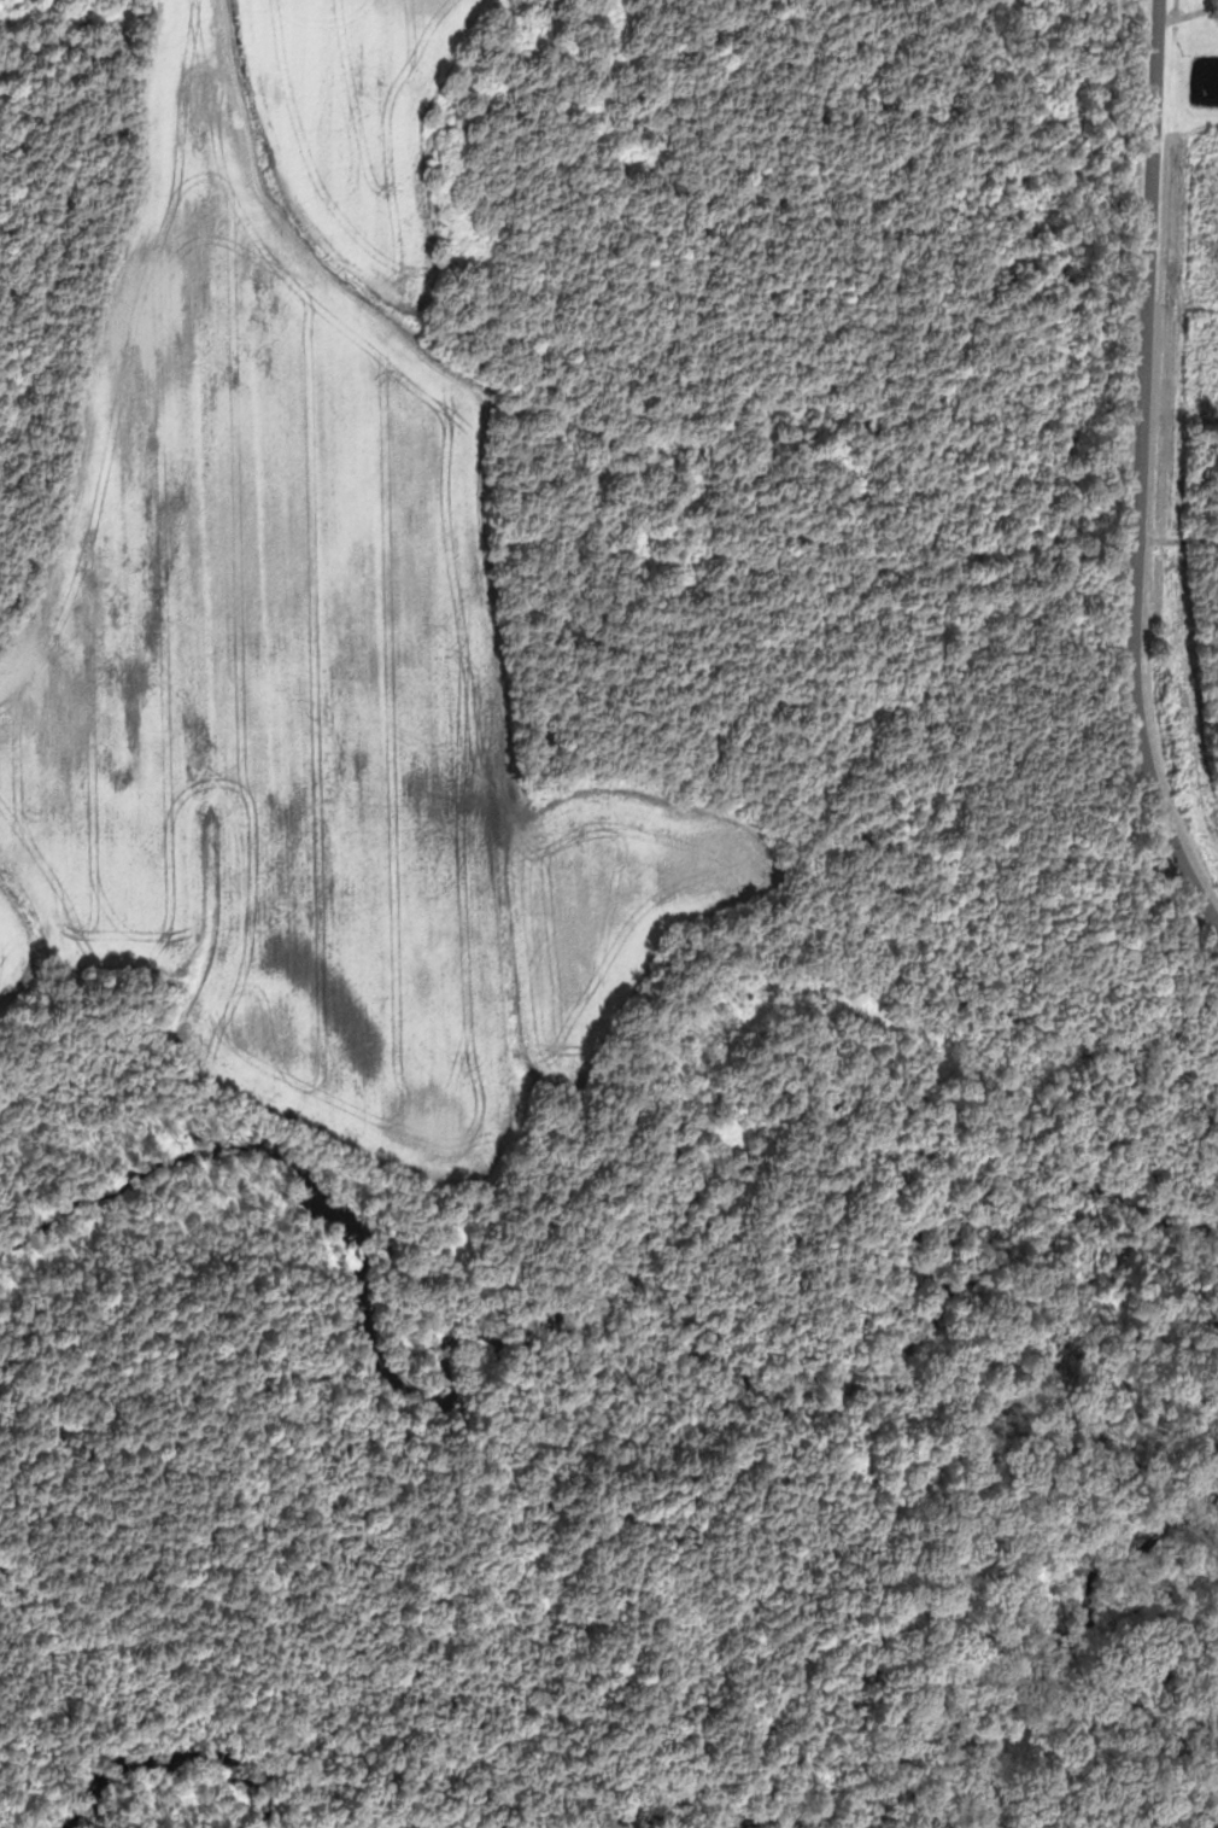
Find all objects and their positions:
road: (1142, 466)

